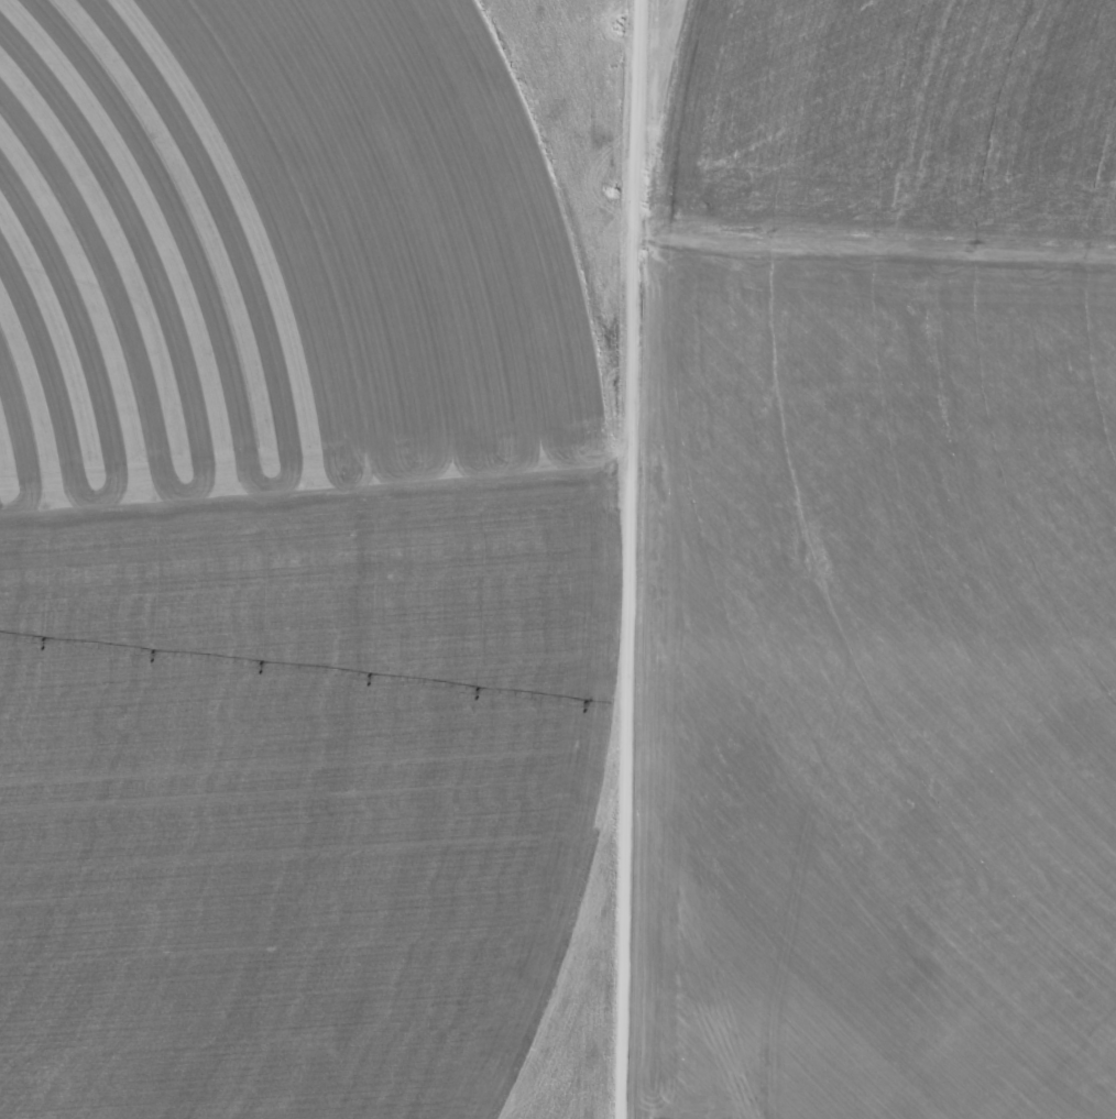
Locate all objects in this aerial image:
road: (635, 559)

